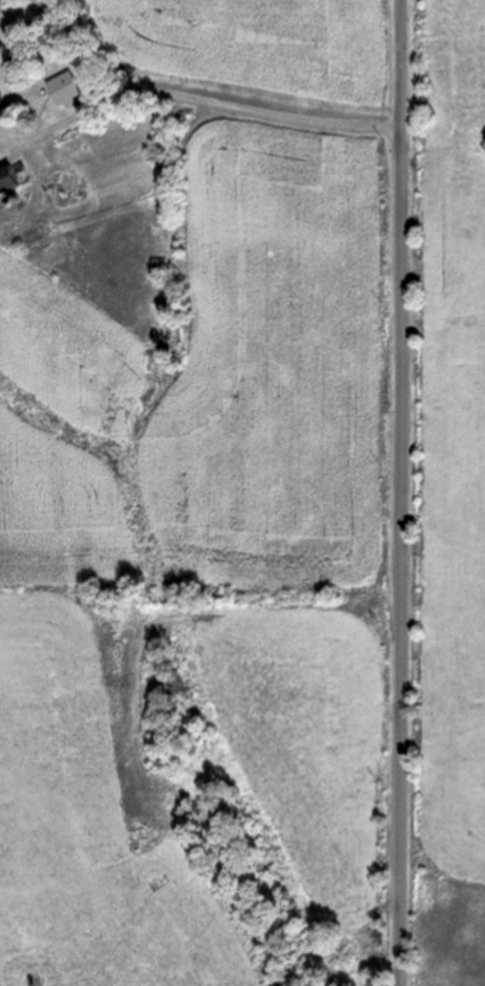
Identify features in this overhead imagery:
building: (64, 88)
road: (195, 97)
building: (9, 178)
building: (30, 234)
road: (403, 493)

